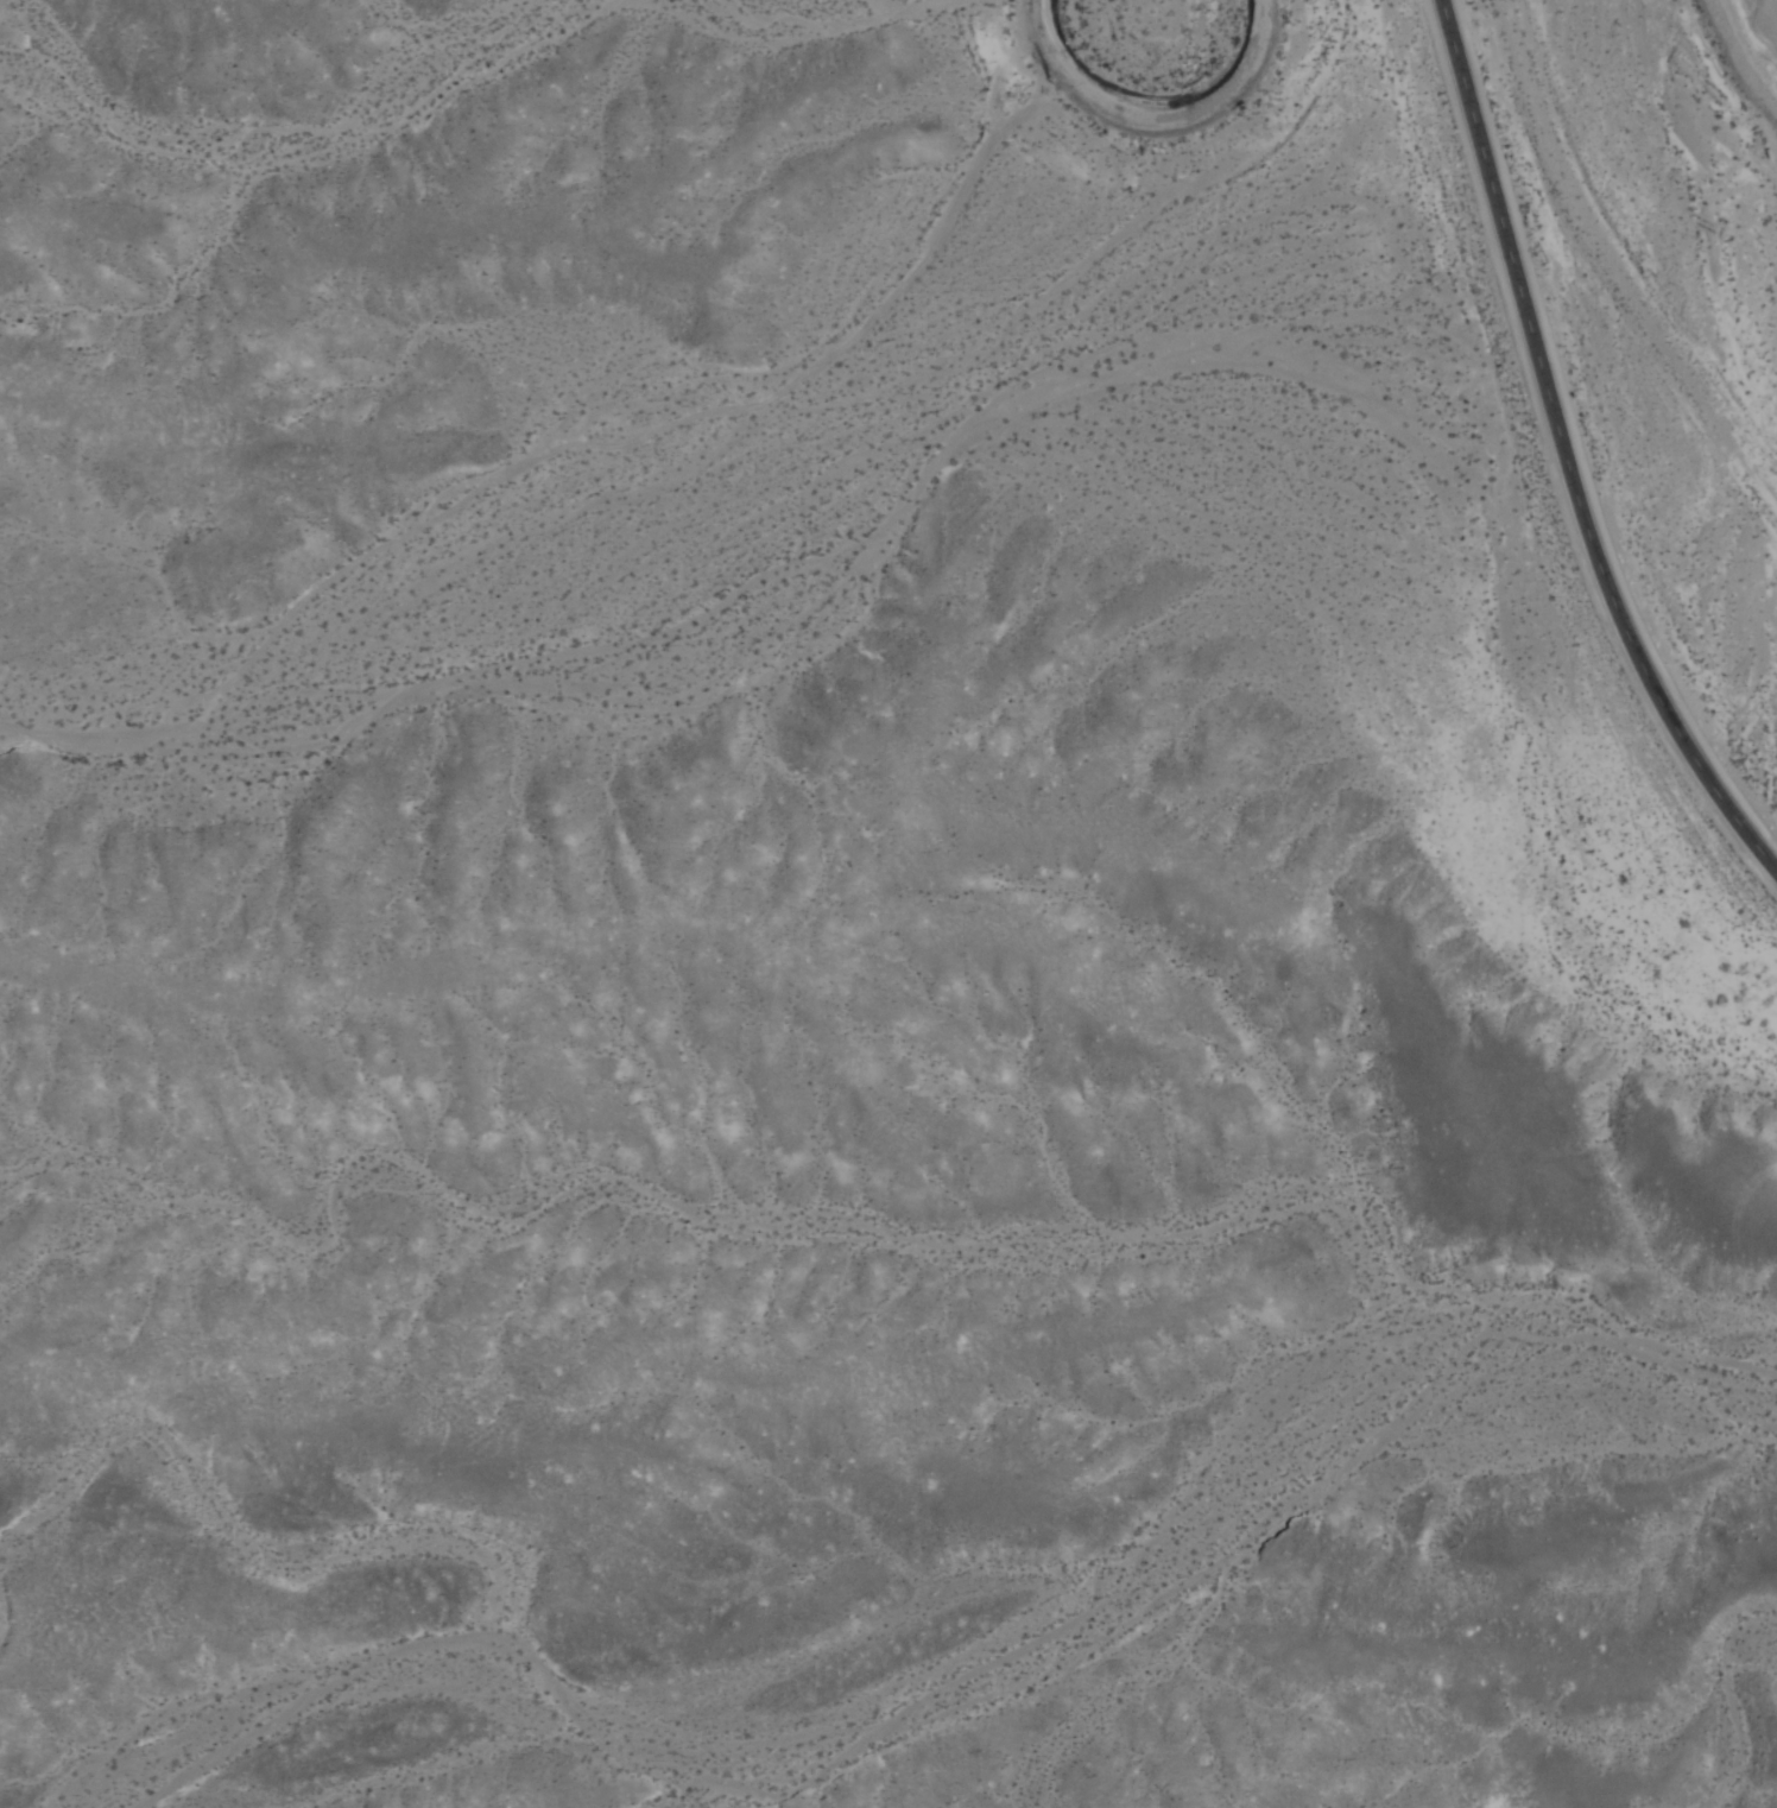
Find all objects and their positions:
quarry: (1164, 88)
road: (1570, 448)

